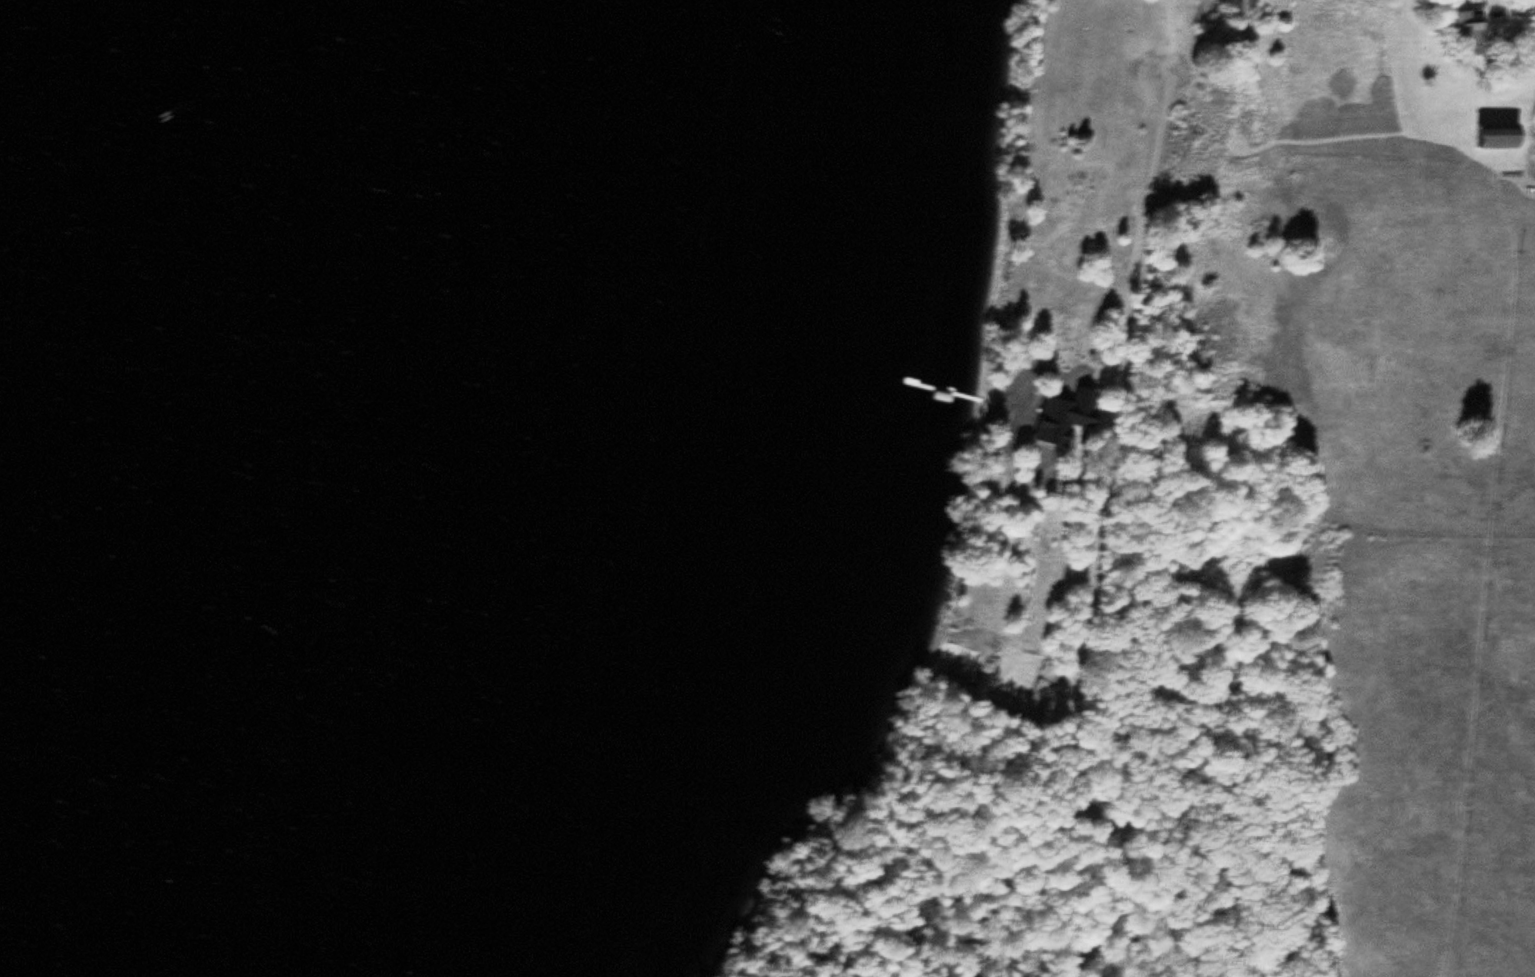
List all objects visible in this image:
road: (1525, 13)
building: (1469, 24)
building: (1499, 135)
building: (226, 215)
road: (1097, 533)

